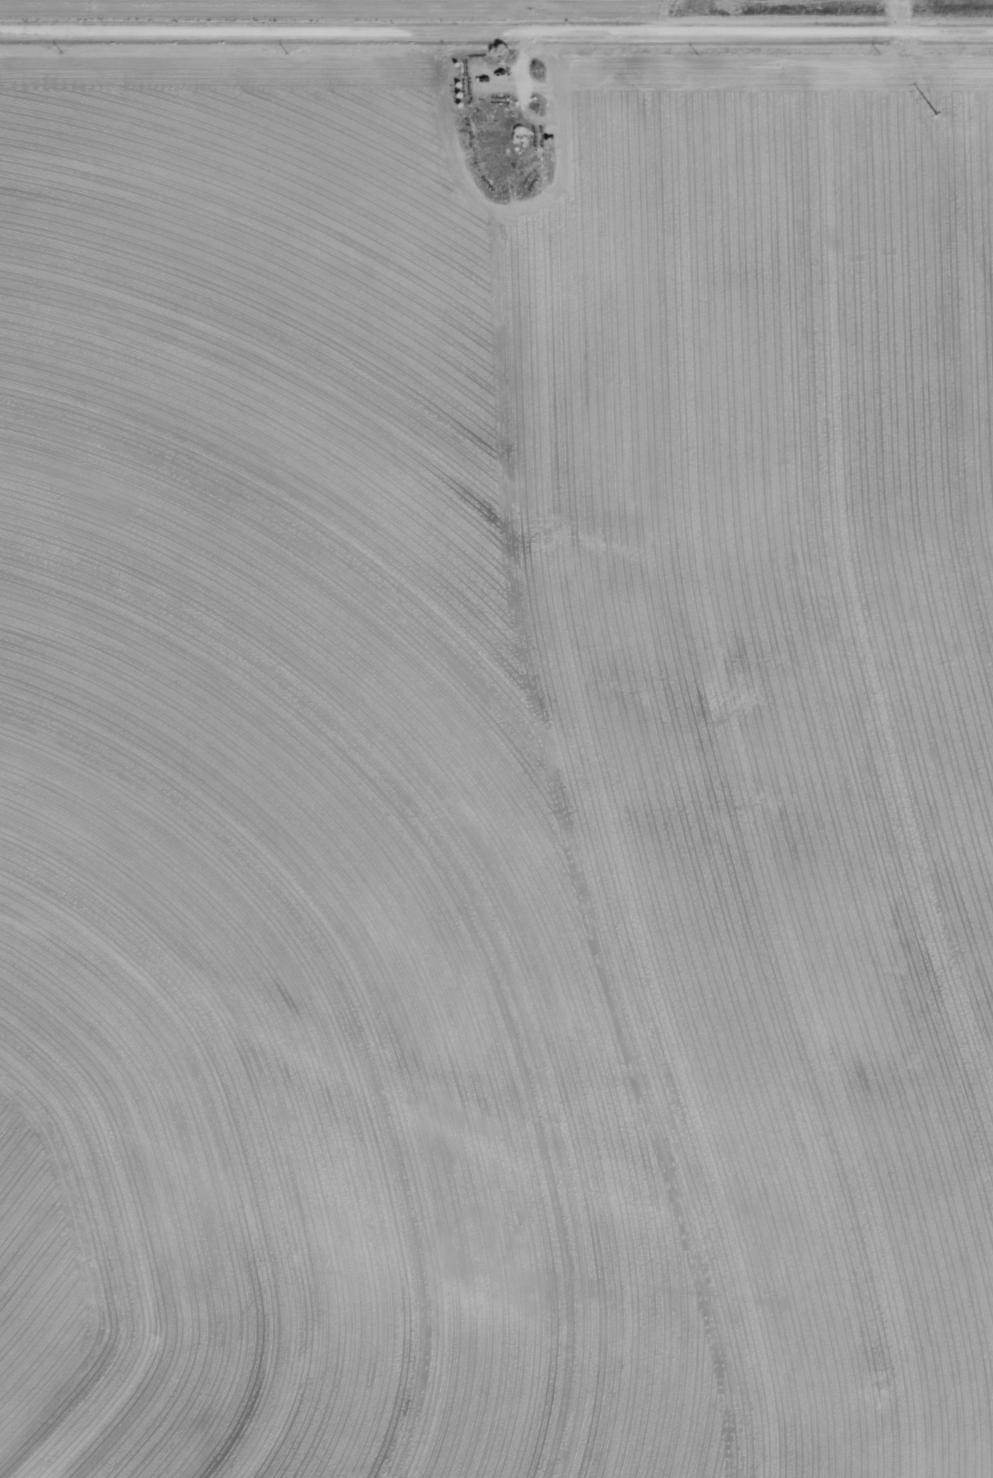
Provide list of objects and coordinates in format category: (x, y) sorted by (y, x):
road: (496, 38)
power tower: (925, 117)

